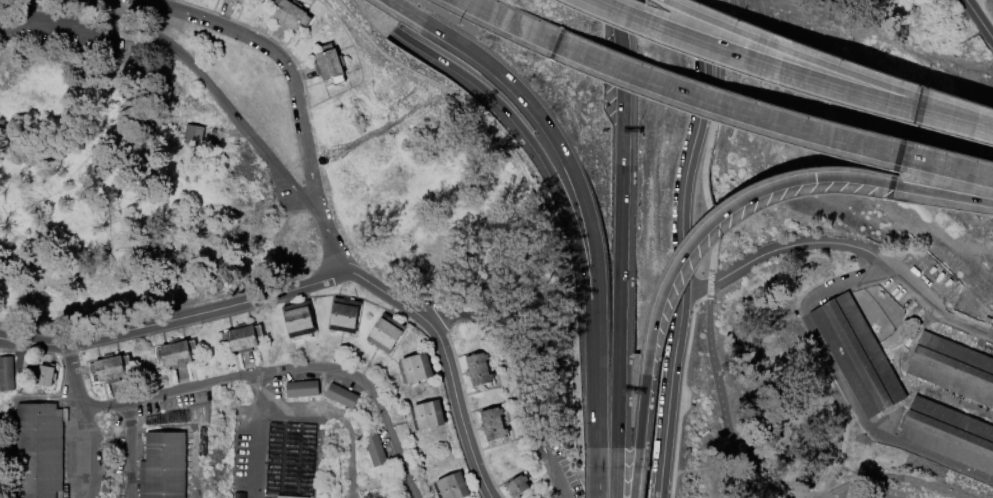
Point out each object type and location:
building: (230, 1)
building: (239, 1)
road: (665, 2)
road: (984, 13)
building: (288, 15)
road: (510, 21)
road: (978, 21)
road: (617, 43)
road: (786, 51)
road: (747, 62)
building: (328, 64)
road: (190, 65)
road: (298, 94)
road: (916, 96)
road: (724, 106)
road: (918, 112)
road: (959, 112)
road: (957, 122)
building: (190, 135)
road: (691, 146)
road: (899, 154)
road: (947, 166)
traffic signals: (815, 178)
park: (975, 181)
road: (892, 184)
road: (579, 191)
road: (944, 193)
road: (566, 210)
road: (726, 210)
road: (714, 239)
road: (785, 248)
park: (496, 249)
road: (617, 277)
road: (937, 312)
building: (345, 316)
road: (177, 319)
building: (300, 320)
building: (387, 334)
building: (243, 339)
road: (509, 340)
building: (177, 354)
building: (855, 355)
road: (446, 365)
road: (315, 368)
building: (952, 368)
building: (111, 369)
building: (417, 369)
building: (479, 370)
building: (7, 374)
building: (47, 376)
road: (75, 379)
road: (840, 384)
building: (303, 390)
road: (666, 395)
building: (342, 396)
road: (262, 404)
road: (278, 411)
road: (640, 411)
building: (429, 417)
road: (81, 425)
building: (494, 425)
building: (948, 434)
road: (351, 447)
road: (135, 448)
building: (41, 451)
building: (376, 452)
road: (258, 455)
building: (269, 458)
road: (549, 464)
building: (164, 466)
road: (879, 475)
road: (598, 482)
road: (614, 482)
road: (770, 482)
road: (634, 483)
building: (453, 487)
building: (518, 487)

